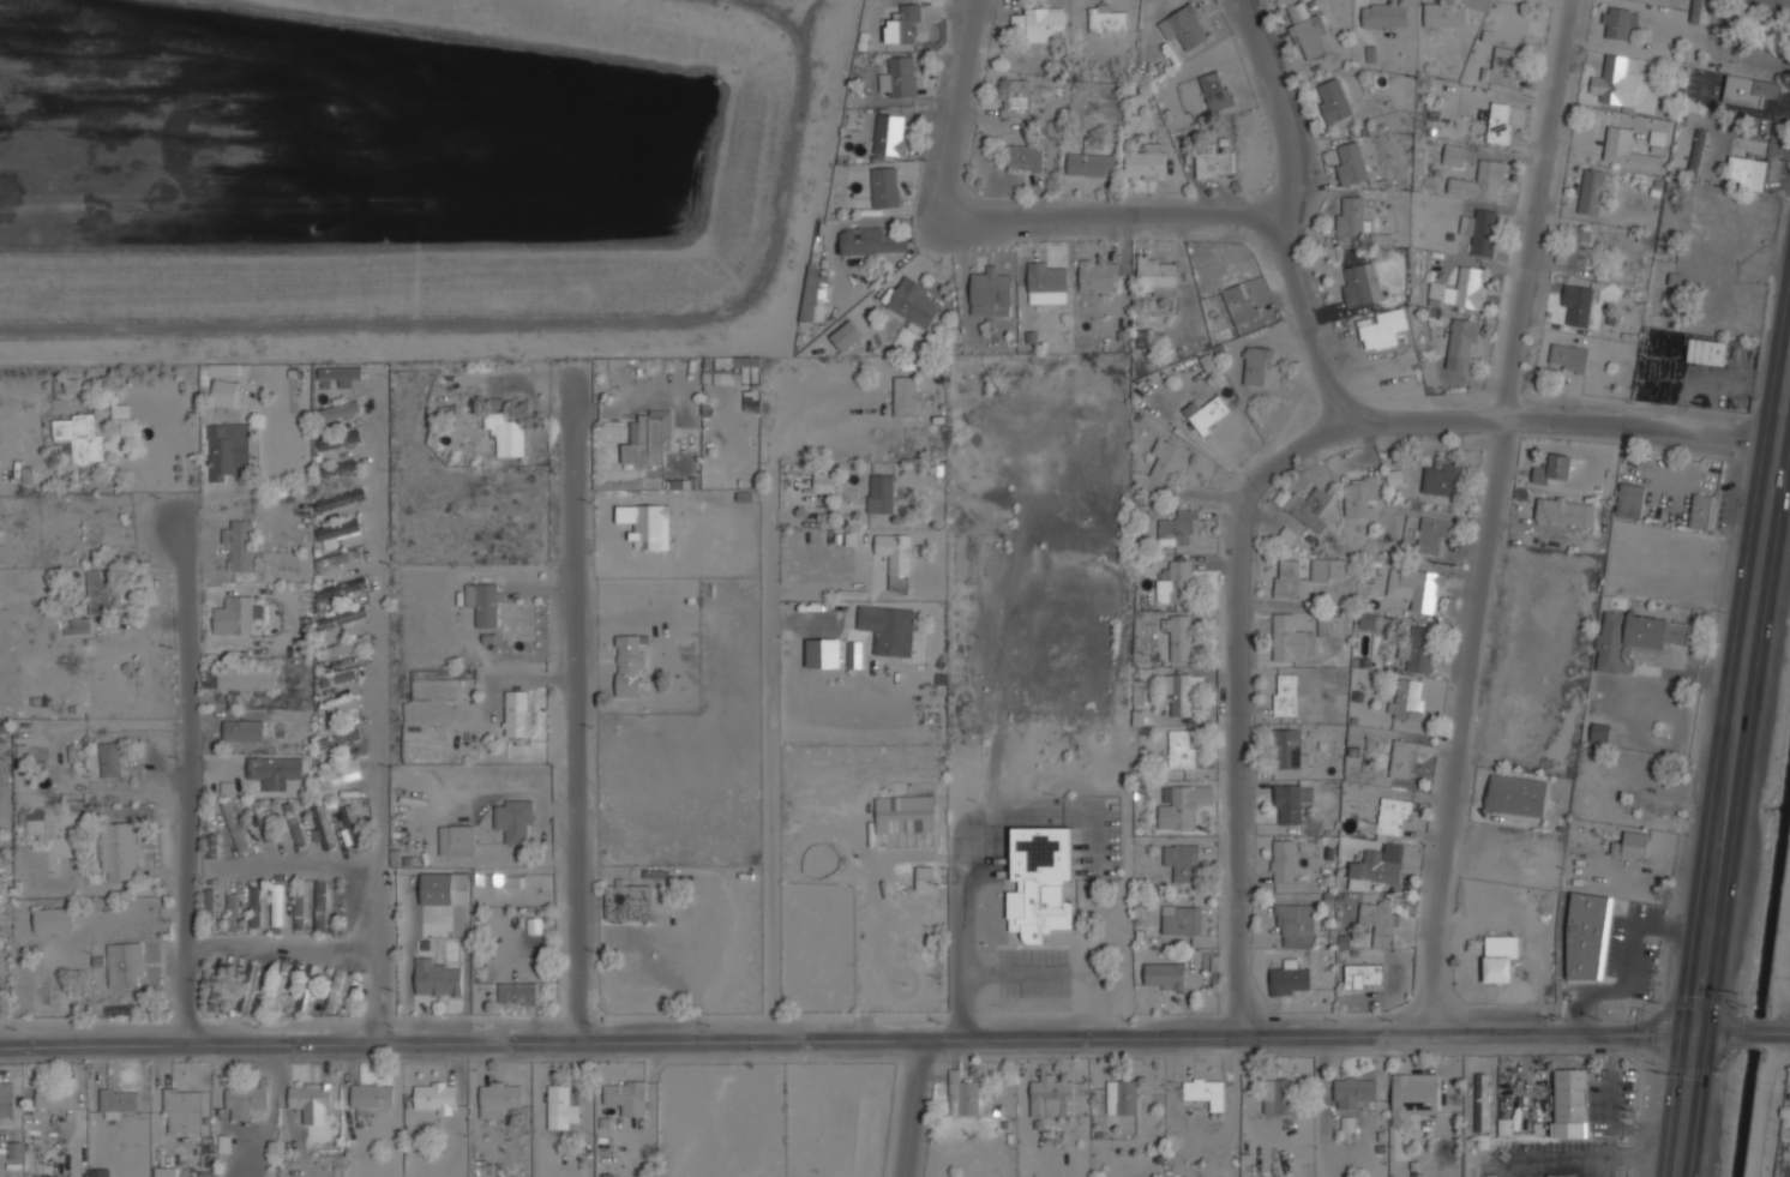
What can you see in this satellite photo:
building: (1698, 11)
building: (1384, 14)
building: (1446, 14)
building: (1106, 18)
building: (1618, 22)
building: (1045, 24)
building: (903, 25)
building: (1184, 28)
building: (1308, 31)
building: (1502, 67)
building: (897, 78)
building: (1615, 86)
building: (1217, 90)
building: (1749, 90)
building: (1014, 98)
building: (1333, 101)
building: (1500, 124)
building: (889, 133)
building: (1657, 138)
building: (1694, 154)
building: (1454, 155)
building: (1629, 156)
building: (1023, 158)
building: (1143, 161)
building: (1350, 163)
building: (1089, 164)
building: (1215, 164)
building: (1746, 173)
building: (1482, 181)
building: (884, 187)
building: (1591, 192)
road: (1011, 208)
road: (1287, 208)
building: (1351, 218)
building: (1480, 232)
building: (872, 241)
building: (1578, 251)
building: (1157, 275)
building: (1098, 276)
building: (1047, 280)
building: (1360, 286)
building: (1460, 289)
building: (990, 292)
building: (813, 295)
building: (913, 302)
building: (1241, 304)
building: (1578, 305)
dam: (555, 317)
road: (557, 329)
building: (1383, 329)
building: (845, 335)
building: (1143, 338)
building: (1461, 344)
building: (1707, 352)
building: (1568, 358)
building: (1208, 362)
building: (1256, 367)
building: (222, 370)
building: (336, 372)
building: (726, 378)
building: (71, 386)
building: (223, 392)
building: (907, 396)
building: (338, 412)
building: (120, 413)
road: (1555, 413)
building: (1207, 415)
building: (505, 436)
building: (80, 437)
building: (648, 439)
building: (340, 440)
building: (220, 452)
building: (1169, 462)
building: (340, 468)
building: (1555, 469)
building: (1317, 473)
building: (1443, 478)
building: (822, 482)
building: (1359, 494)
building: (879, 496)
building: (340, 500)
building: (1629, 502)
building: (1307, 508)
building: (1567, 511)
building: (1702, 512)
road: (1483, 516)
building: (1178, 529)
building: (336, 533)
building: (1287, 535)
building: (1432, 536)
building: (240, 545)
building: (338, 559)
building: (895, 559)
building: (1328, 570)
building: (1290, 580)
building: (1175, 583)
building: (341, 589)
building: (1422, 589)
building: (98, 591)
building: (483, 602)
building: (244, 613)
building: (342, 618)
building: (1332, 625)
building: (79, 626)
building: (889, 629)
building: (1178, 636)
building: (1292, 638)
building: (1635, 638)
building: (342, 648)
building: (1417, 651)
building: (823, 653)
building: (854, 654)
building: (629, 666)
building: (246, 678)
building: (338, 679)
building: (104, 686)
building: (1179, 692)
building: (1285, 695)
road: (771, 698)
building: (1407, 699)
road: (1239, 702)
building: (343, 707)
road: (576, 708)
road: (377, 710)
building: (518, 715)
building: (244, 731)
building: (1600, 732)
building: (340, 739)
building: (1287, 747)
building: (1182, 749)
building: (110, 759)
building: (1402, 759)
building: (275, 770)
road: (188, 773)
building: (340, 773)
building: (236, 779)
road: (1730, 781)
building: (1516, 795)
building: (1291, 801)
building: (1181, 805)
building: (905, 813)
building: (1394, 817)
building: (264, 821)
building: (517, 822)
building: (294, 823)
building: (234, 825)
building: (32, 827)
building: (350, 827)
building: (322, 828)
building: (456, 840)
building: (1633, 845)
building: (212, 848)
building: (118, 849)
building: (1182, 861)
building: (1283, 861)
building: (1375, 866)
building: (1, 873)
road: (966, 875)
building: (924, 878)
building: (1040, 882)
building: (444, 889)
building: (627, 901)
building: (1333, 901)
building: (277, 905)
building: (256, 907)
building: (322, 907)
building: (209, 908)
building: (299, 911)
building: (232, 912)
building: (54, 919)
building: (1181, 919)
building: (1381, 923)
building: (1290, 924)
building: (534, 925)
building: (1585, 937)
road: (282, 944)
building: (1500, 959)
building: (125, 965)
building: (1164, 977)
building: (1365, 977)
building: (436, 978)
building: (1287, 978)
building: (248, 987)
building: (277, 987)
building: (307, 989)
building: (216, 991)
building: (338, 991)
building: (517, 993)
traffic signals: (1693, 1028)
road: (1741, 1028)
road: (846, 1040)
building: (1206, 1092)
building: (1353, 1092)
building: (962, 1095)
building: (1278, 1095)
building: (56, 1097)
building: (434, 1097)
building: (626, 1097)
building: (1051, 1097)
building: (1122, 1097)
building: (1414, 1097)
building: (371, 1098)
building: (499, 1098)
building: (6, 1099)
building: (245, 1101)
building: (311, 1101)
building: (116, 1103)
building: (1482, 1103)
building: (1572, 1104)
building: (563, 1106)
road: (912, 1109)
building: (182, 1110)
building: (166, 1172)
building: (100, 1173)
building: (53, 1176)
building: (1544, 1176)

